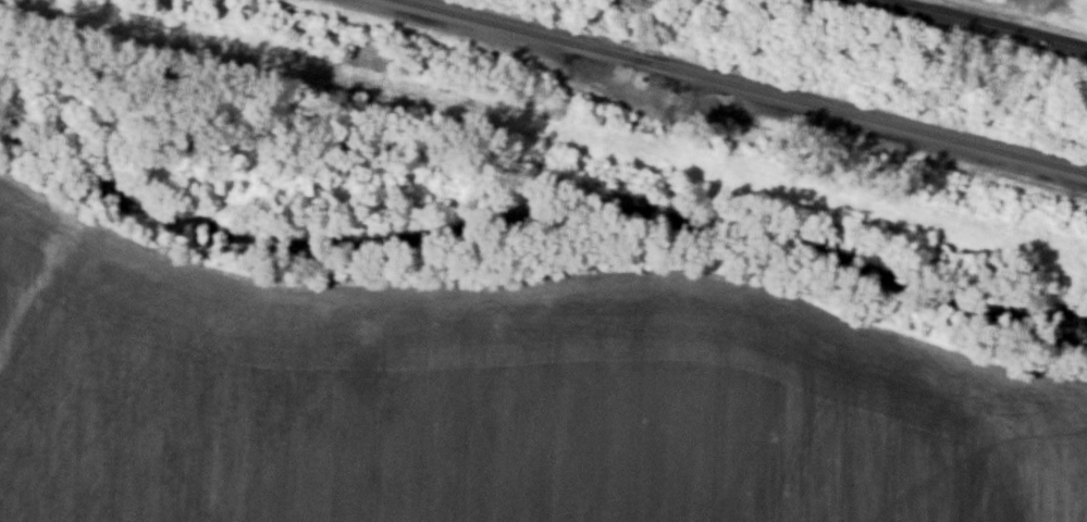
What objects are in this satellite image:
road: (913, 3)
road: (984, 24)
railway: (745, 86)

